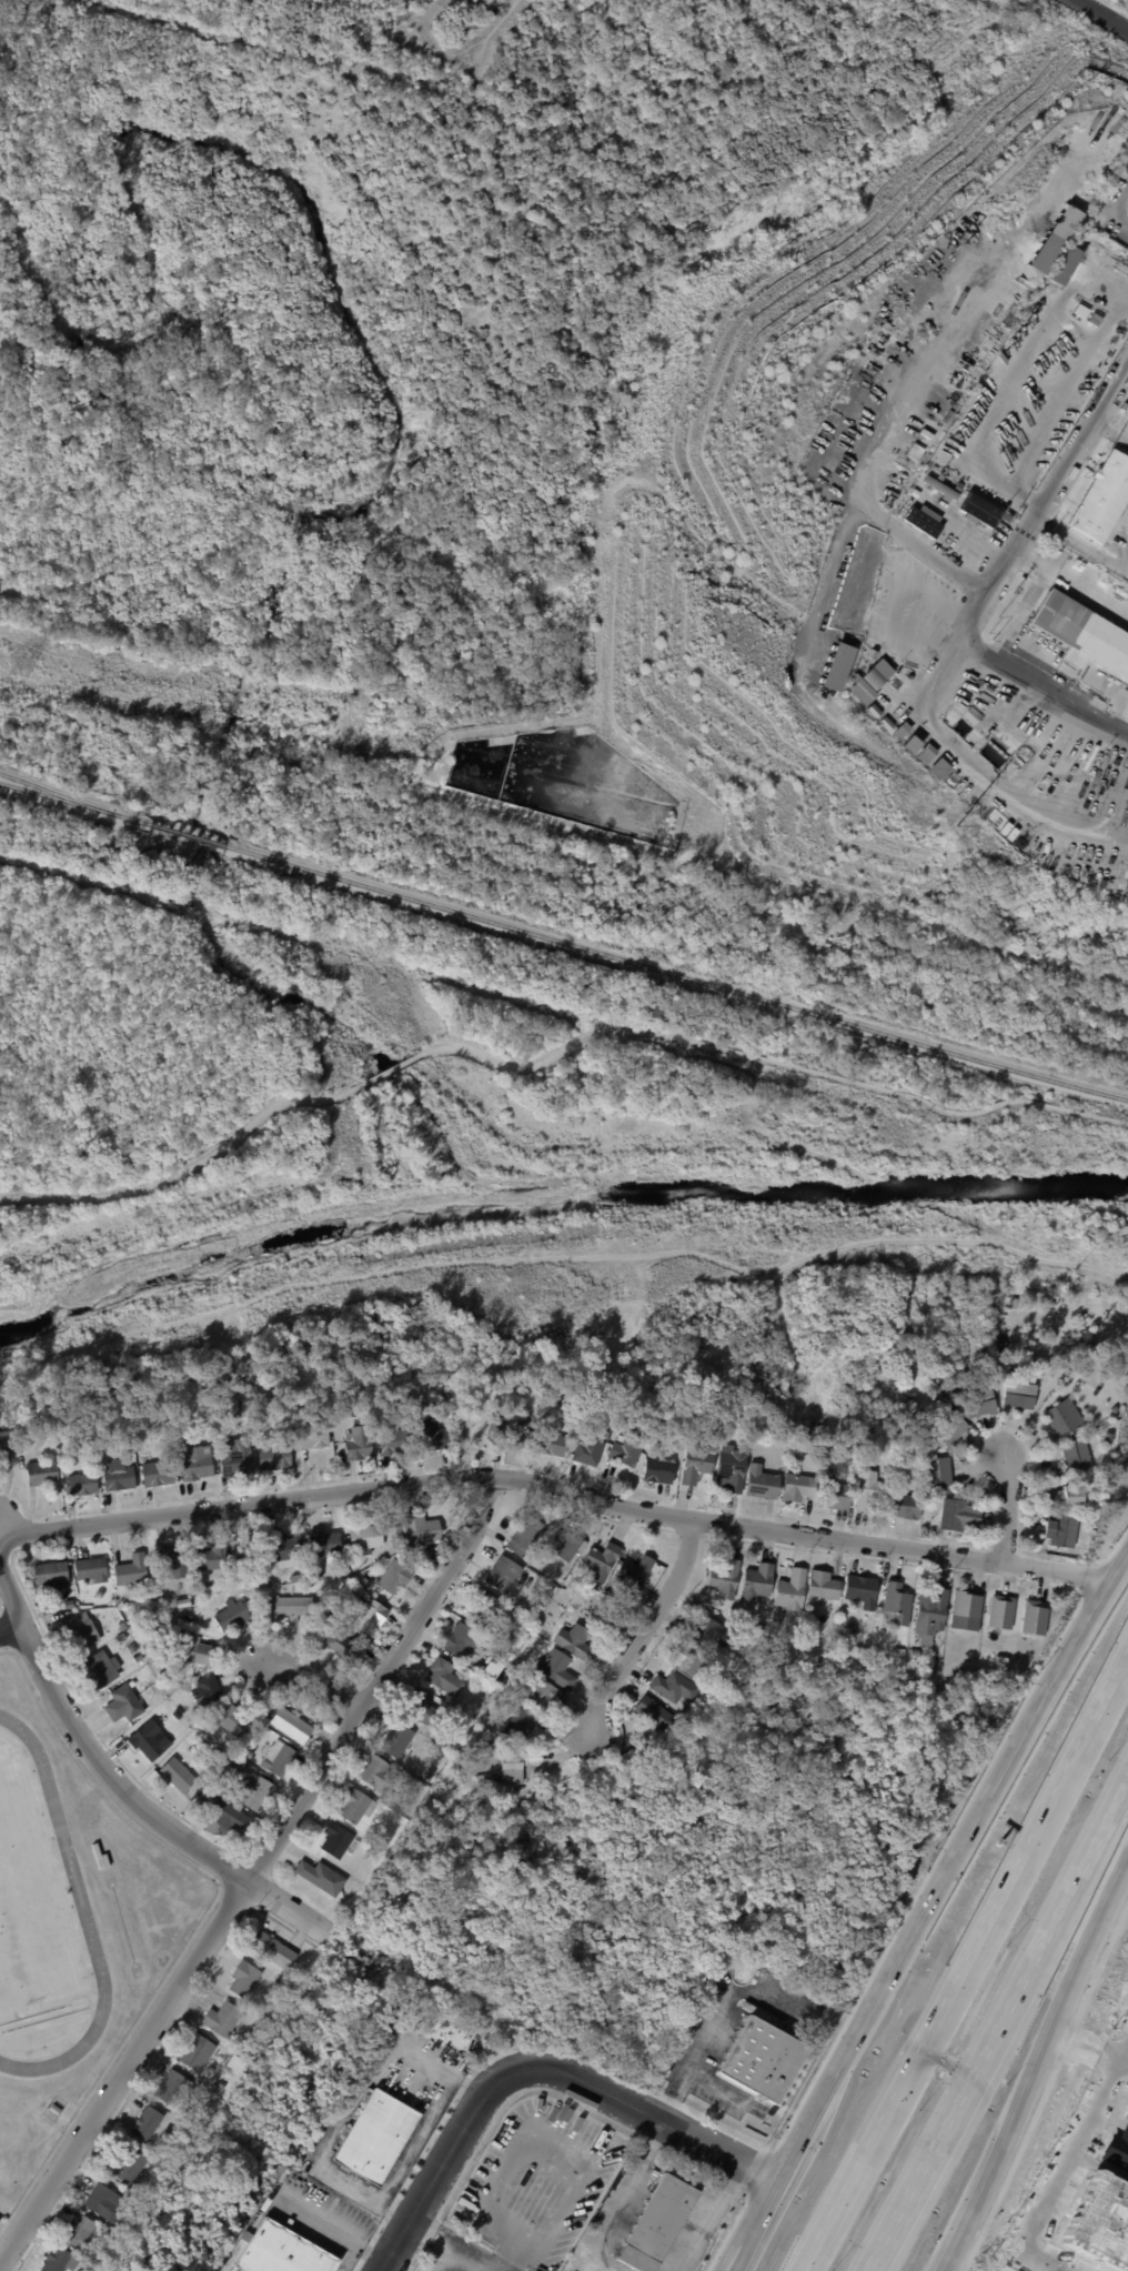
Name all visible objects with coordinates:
road: (1104, 14)
road: (1120, 205)
building: (1057, 238)
building: (1066, 264)
road: (0, 339)
building: (1124, 405)
building: (939, 462)
building: (940, 486)
building: (1102, 498)
building: (980, 506)
building: (902, 511)
building: (923, 520)
road: (994, 574)
building: (1084, 630)
building: (873, 654)
building: (838, 664)
power tower: (14, 665)
building: (879, 674)
building: (863, 690)
building: (875, 711)
building: (887, 723)
building: (903, 731)
building: (914, 745)
building: (928, 754)
building: (940, 768)
railway: (42, 786)
railway: (73, 801)
power tower: (969, 825)
railway: (187, 833)
railway: (676, 972)
road: (546, 1054)
road: (385, 1072)
road: (900, 1092)
road: (185, 1165)
building: (1001, 1335)
building: (1001, 1351)
building: (60, 1355)
building: (1100, 1358)
building: (1061, 1363)
building: (28, 1364)
building: (432, 1364)
building: (947, 1364)
building: (1065, 1365)
building: (459, 1366)
building: (502, 1378)
building: (1019, 1391)
building: (439, 1400)
building: (979, 1403)
building: (939, 1406)
building: (348, 1409)
building: (1116, 1409)
building: (228, 1417)
building: (877, 1419)
building: (1060, 1419)
building: (511, 1423)
building: (414, 1425)
building: (908, 1426)
building: (949, 1427)
building: (588, 1430)
building: (432, 1433)
building: (311, 1437)
building: (1109, 1437)
building: (6, 1441)
building: (392, 1441)
building: (359, 1443)
building: (551, 1444)
building: (587, 1450)
building: (626, 1450)
building: (234, 1457)
building: (274, 1457)
building: (1076, 1457)
building: (865, 1460)
building: (194, 1463)
building: (696, 1464)
building: (137, 1465)
building: (659, 1467)
building: (732, 1468)
building: (40, 1473)
building: (157, 1473)
building: (939, 1474)
building: (118, 1477)
building: (763, 1483)
building: (80, 1484)
road: (558, 1487)
building: (798, 1488)
building: (1100, 1489)
building: (869, 1490)
building: (834, 1493)
building: (1067, 1496)
building: (906, 1506)
road: (1008, 1507)
building: (960, 1516)
road: (1115, 1521)
road: (636, 1524)
building: (1092, 1526)
building: (420, 1529)
building: (545, 1530)
building: (1062, 1530)
road: (689, 1533)
building: (365, 1536)
building: (524, 1536)
building: (323, 1543)
building: (565, 1543)
road: (1116, 1544)
building: (284, 1548)
building: (244, 1550)
building: (211, 1557)
building: (173, 1561)
building: (602, 1561)
building: (90, 1569)
building: (131, 1570)
building: (370, 1572)
building: (50, 1575)
building: (504, 1575)
building: (633, 1576)
building: (296, 1577)
building: (394, 1577)
road: (1089, 1577)
building: (724, 1579)
building: (258, 1582)
building: (364, 1582)
building: (757, 1582)
building: (268, 1584)
building: (823, 1585)
building: (596, 1586)
road: (10, 1590)
building: (546, 1590)
building: (790, 1590)
building: (862, 1590)
road: (422, 1594)
building: (248, 1597)
building: (194, 1598)
building: (543, 1600)
building: (897, 1602)
building: (68, 1605)
building: (291, 1606)
building: (484, 1608)
building: (699, 1610)
building: (967, 1610)
building: (1001, 1611)
building: (930, 1614)
building: (366, 1615)
building: (232, 1616)
building: (198, 1617)
building: (1035, 1618)
road: (10, 1625)
building: (122, 1626)
road: (644, 1629)
building: (80, 1631)
building: (707, 1632)
road: (23, 1637)
building: (120, 1638)
building: (849, 1640)
building: (574, 1641)
building: (464, 1642)
road: (3, 1647)
building: (131, 1648)
building: (343, 1648)
building: (192, 1649)
building: (840, 1651)
building: (899, 1651)
building: (914, 1651)
building: (824, 1657)
building: (138, 1658)
building: (692, 1658)
building: (100, 1668)
building: (489, 1668)
building: (555, 1669)
building: (442, 1675)
road: (312, 1679)
building: (504, 1684)
building: (674, 1689)
building: (208, 1690)
building: (540, 1694)
building: (705, 1694)
building: (696, 1699)
road: (346, 1704)
road: (1021, 1704)
building: (122, 1705)
building: (420, 1707)
building: (653, 1714)
building: (179, 1716)
building: (264, 1719)
building: (231, 1720)
building: (291, 1726)
building: (518, 1726)
building: (456, 1735)
building: (149, 1740)
building: (396, 1740)
building: (250, 1745)
building: (278, 1759)
building: (236, 1765)
building: (514, 1766)
building: (177, 1775)
building: (376, 1775)
building: (152, 1778)
building: (477, 1778)
building: (491, 1779)
road: (144, 1788)
building: (259, 1795)
building: (355, 1807)
road: (142, 1808)
building: (229, 1817)
building: (434, 1817)
building: (399, 1825)
building: (339, 1841)
building: (99, 1856)
building: (372, 1859)
track: (70, 1867)
road: (230, 1870)
building: (370, 1870)
road: (255, 1875)
building: (321, 1878)
road: (935, 1889)
road: (235, 1901)
park: (29, 1906)
building: (272, 1951)
road: (965, 1963)
road: (1099, 1964)
road: (1028, 1972)
building: (243, 1979)
building: (275, 1986)
road: (718, 1999)
park: (78, 2000)
track: (34, 2012)
track: (44, 2019)
building: (222, 2019)
park: (0, 2032)
road: (1065, 2044)
road: (1084, 2048)
road: (389, 2049)
road: (119, 2051)
road: (1125, 2051)
building: (195, 2052)
road: (154, 2056)
road: (1125, 2059)
building: (759, 2060)
road: (1037, 2061)
road: (535, 2067)
building: (233, 2071)
road: (455, 2077)
road: (474, 2086)
building: (172, 2090)
road: (726, 2091)
building: (54, 2109)
road: (667, 2109)
building: (61, 2122)
building: (145, 2124)
building: (375, 2136)
road: (547, 2141)
road: (1015, 2161)
building: (125, 2167)
road: (1064, 2170)
road: (759, 2174)
building: (600, 2192)
building: (103, 2201)
road: (899, 2217)
road: (318, 2221)
road: (409, 2221)
building: (657, 2223)
building: (79, 2230)
road: (725, 2237)
road: (510, 2248)
road: (737, 2248)
road: (743, 2248)
building: (282, 2251)
road: (462, 2252)
road: (374, 2255)
road: (349, 2258)
building: (56, 2260)
road: (966, 2264)
road: (955, 2267)
park: (995, 2269)

